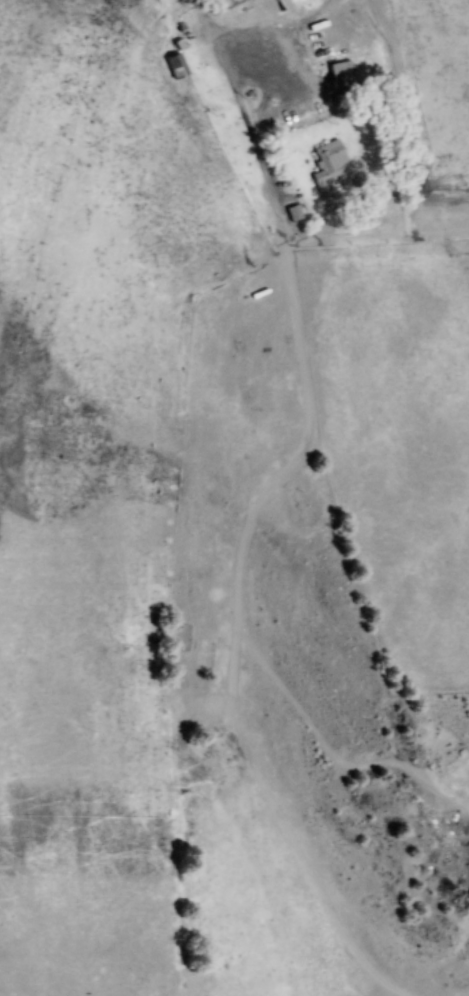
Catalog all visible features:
road: (207, 23)
building: (337, 72)
building: (290, 213)

